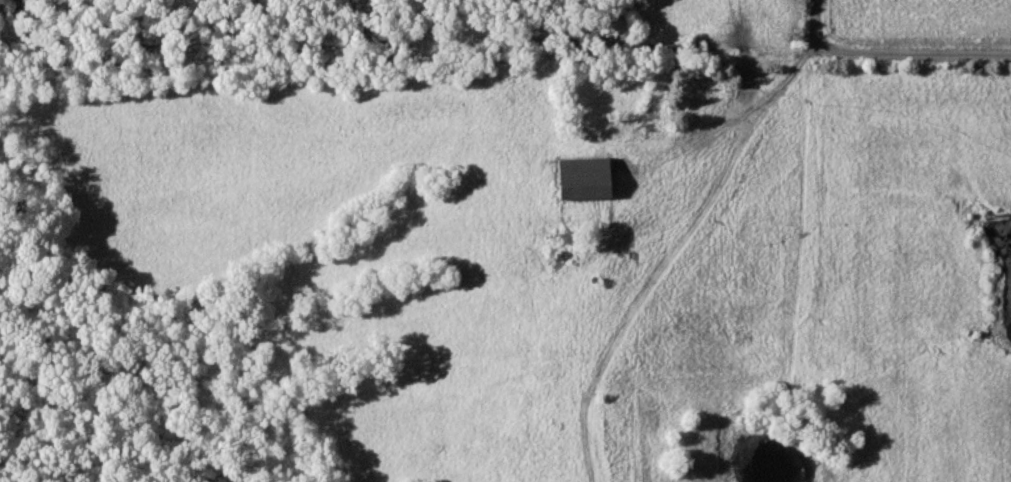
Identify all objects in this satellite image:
road: (894, 52)
building: (585, 177)

